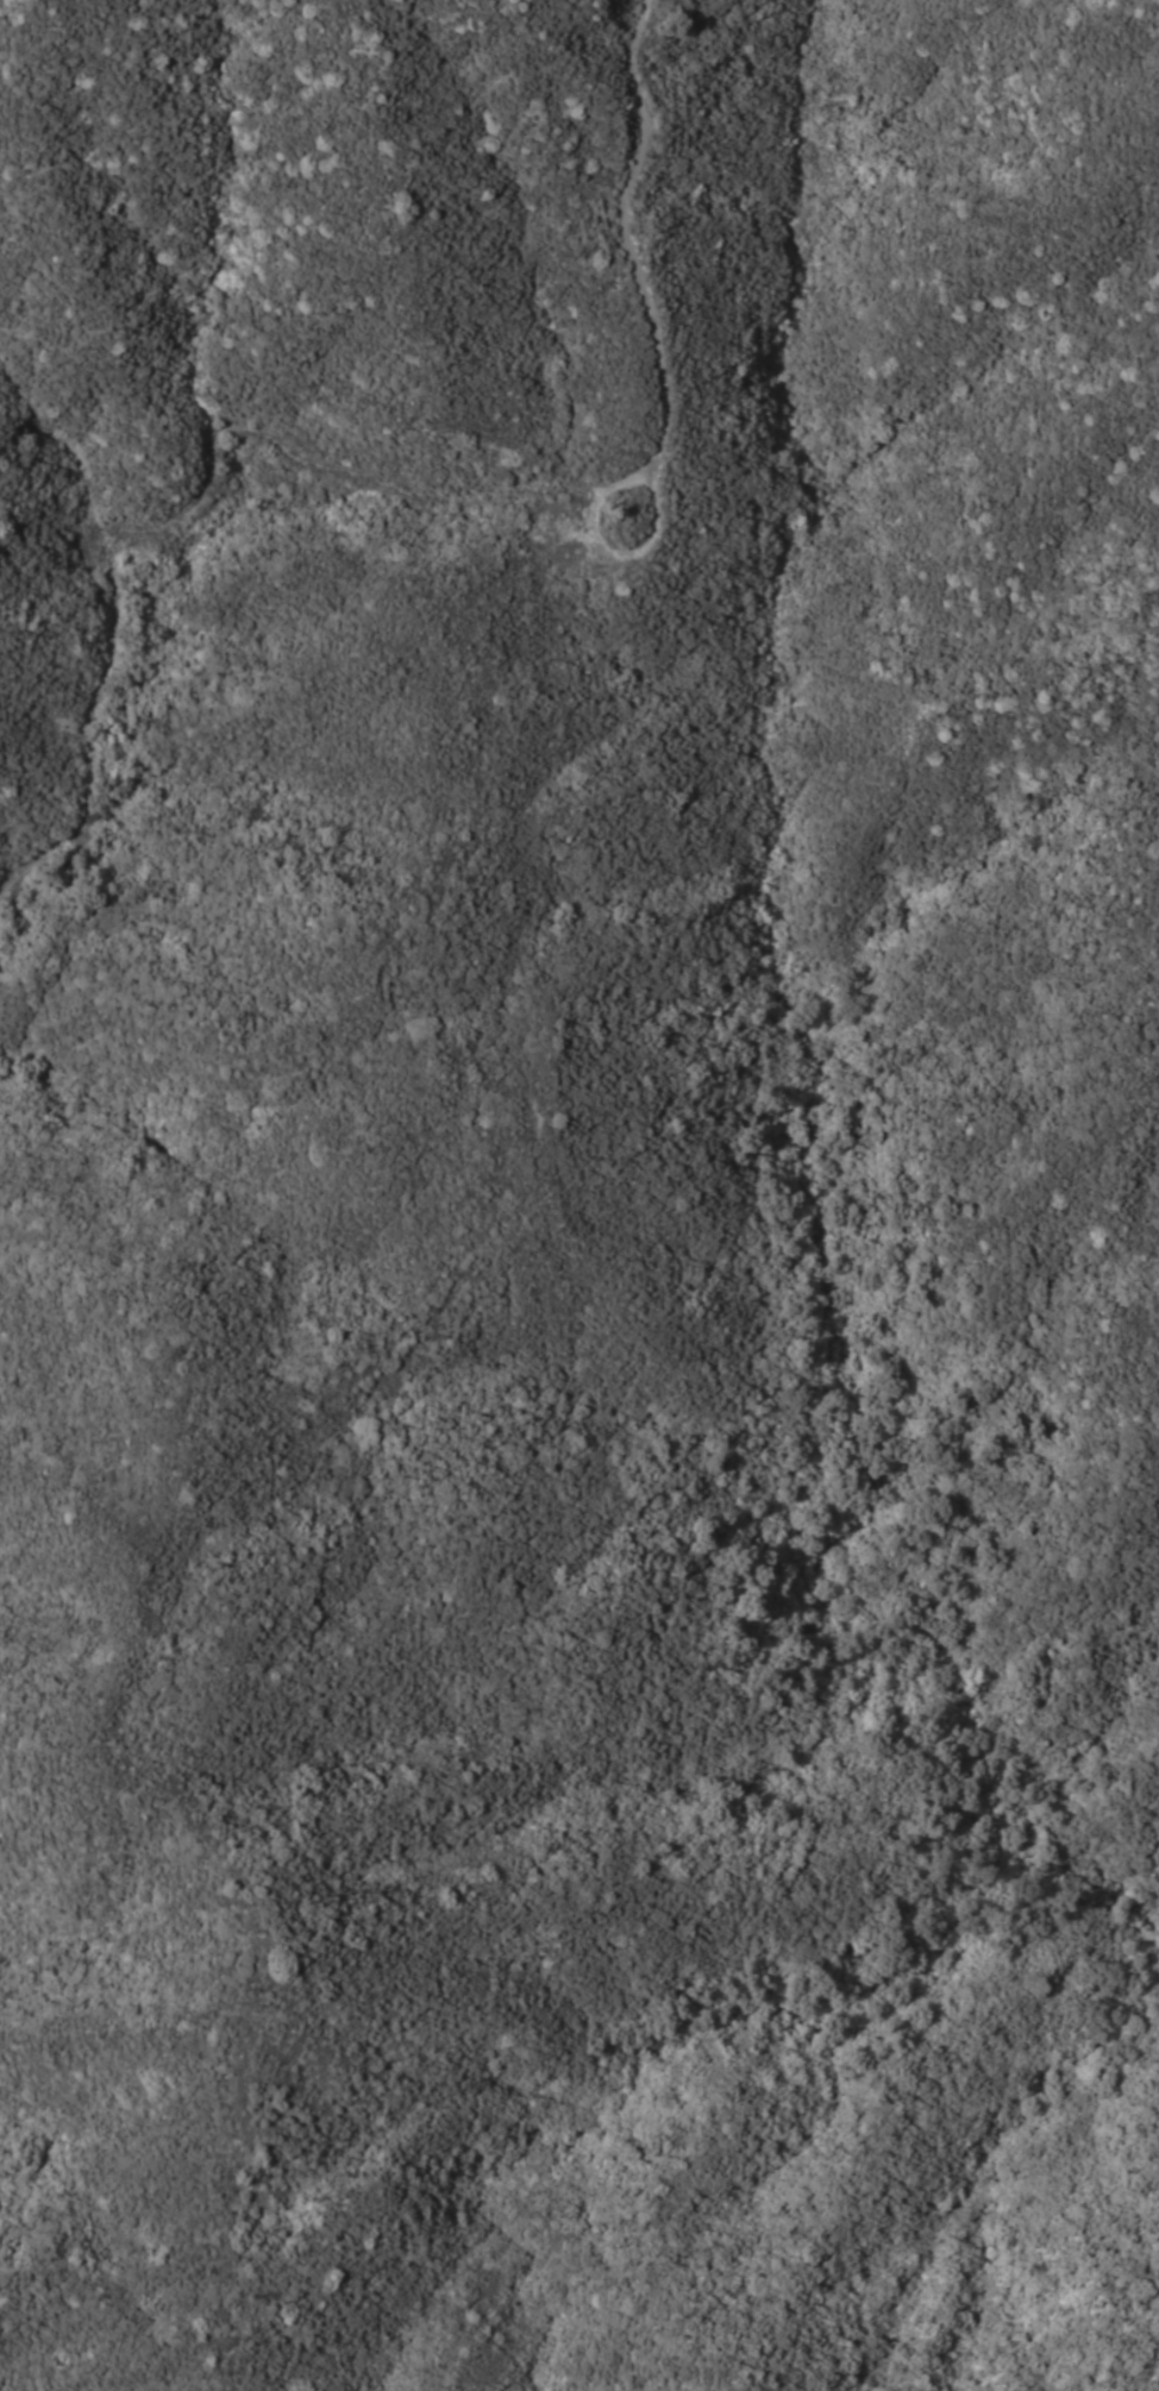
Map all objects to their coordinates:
road: (368, 464)

